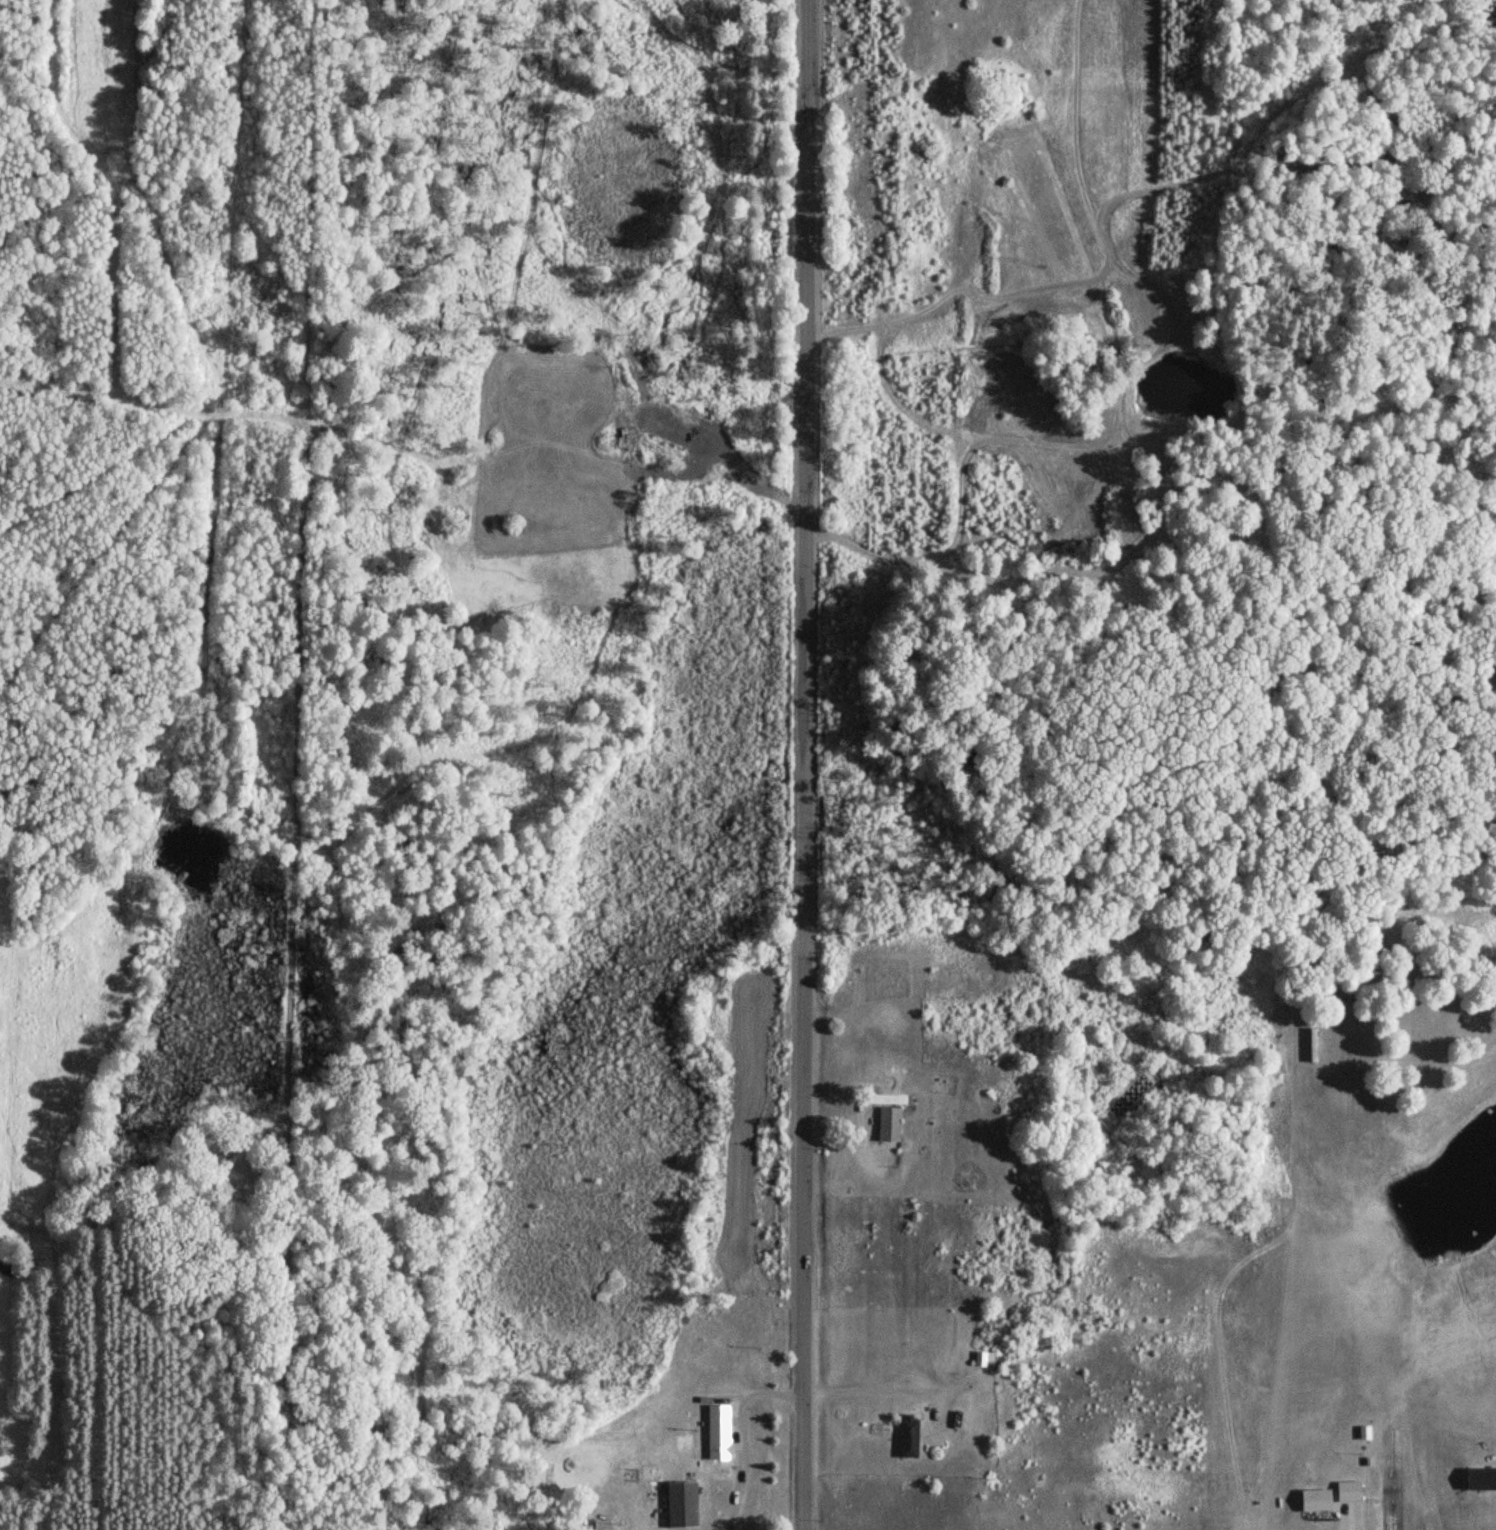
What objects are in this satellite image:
road: (803, 765)
building: (1270, 1063)
building: (879, 1097)
building: (887, 1124)
building: (716, 1429)
building: (906, 1437)
building: (1479, 1479)
building: (1344, 1491)
building: (1312, 1500)
building: (674, 1504)

